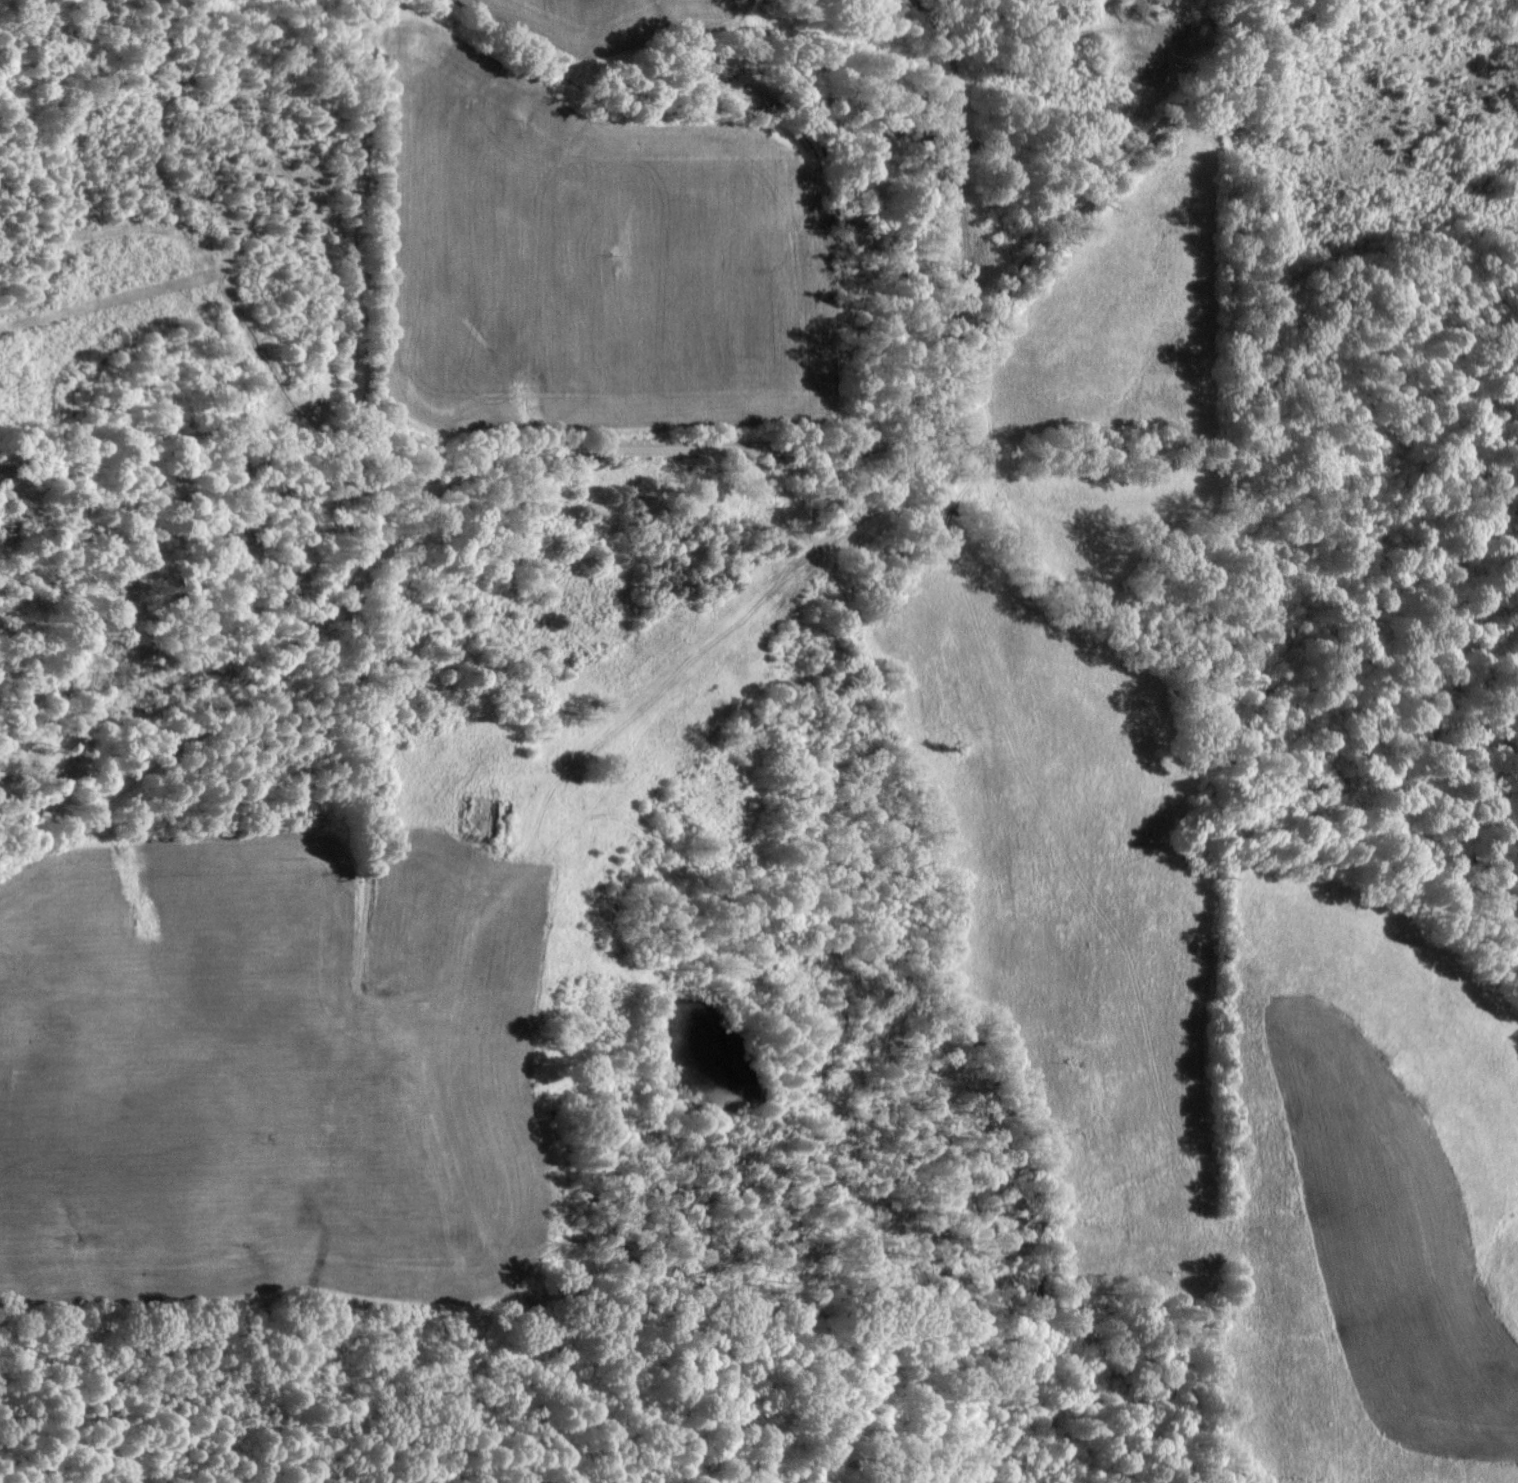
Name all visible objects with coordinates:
road: (361, 259)
road: (677, 448)
road: (357, 773)
building: (487, 819)
building: (466, 873)

